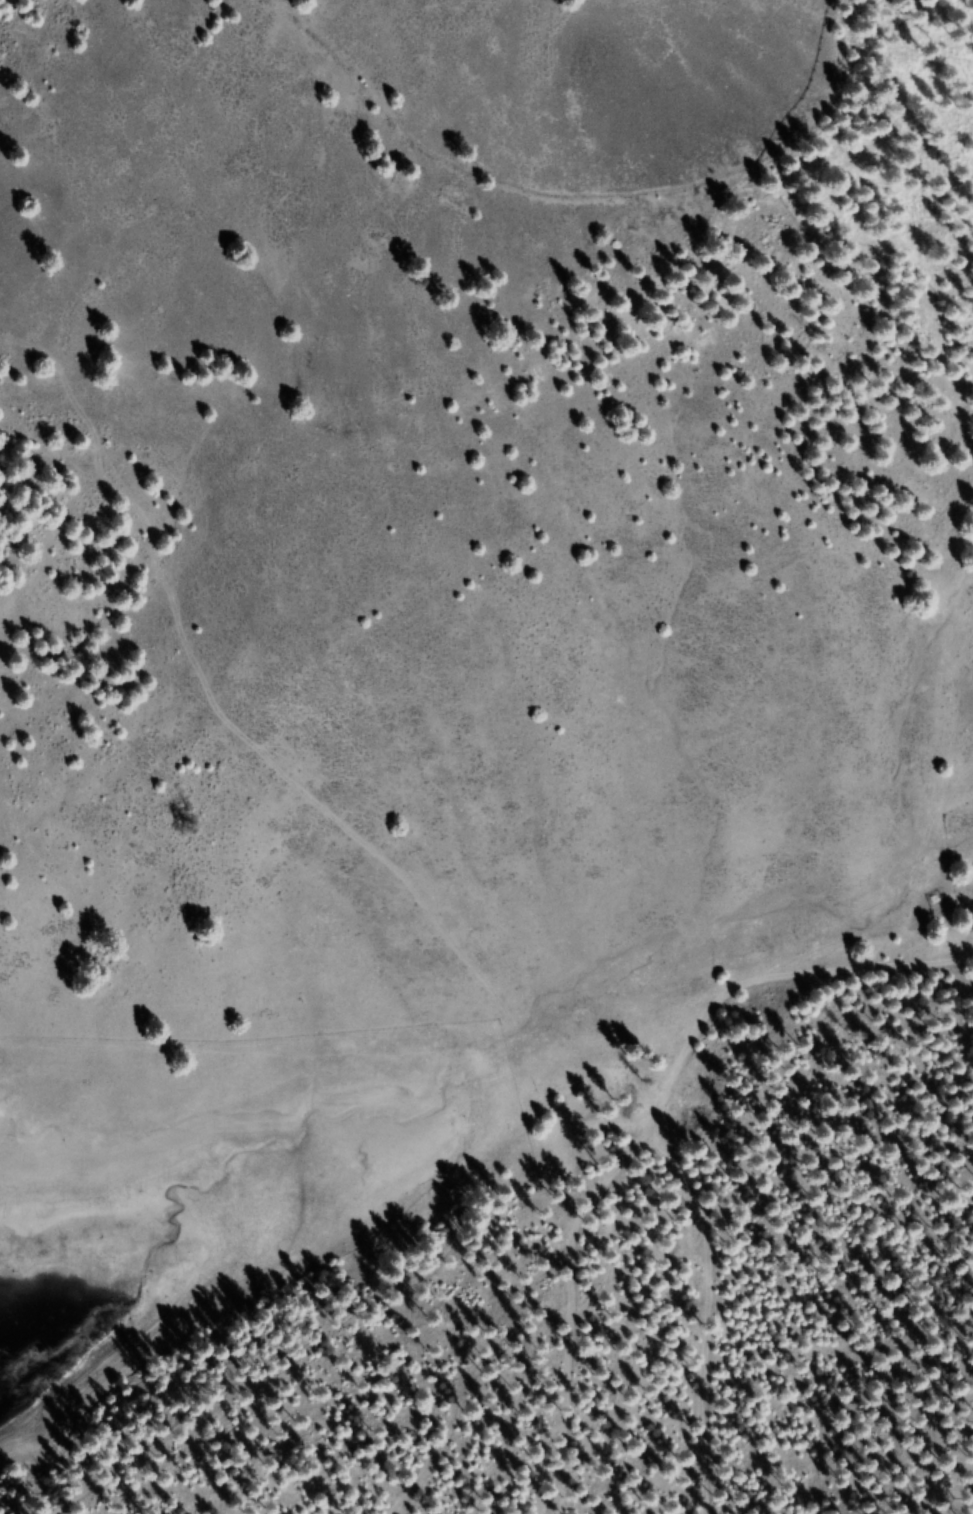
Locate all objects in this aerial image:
road: (496, 1071)

